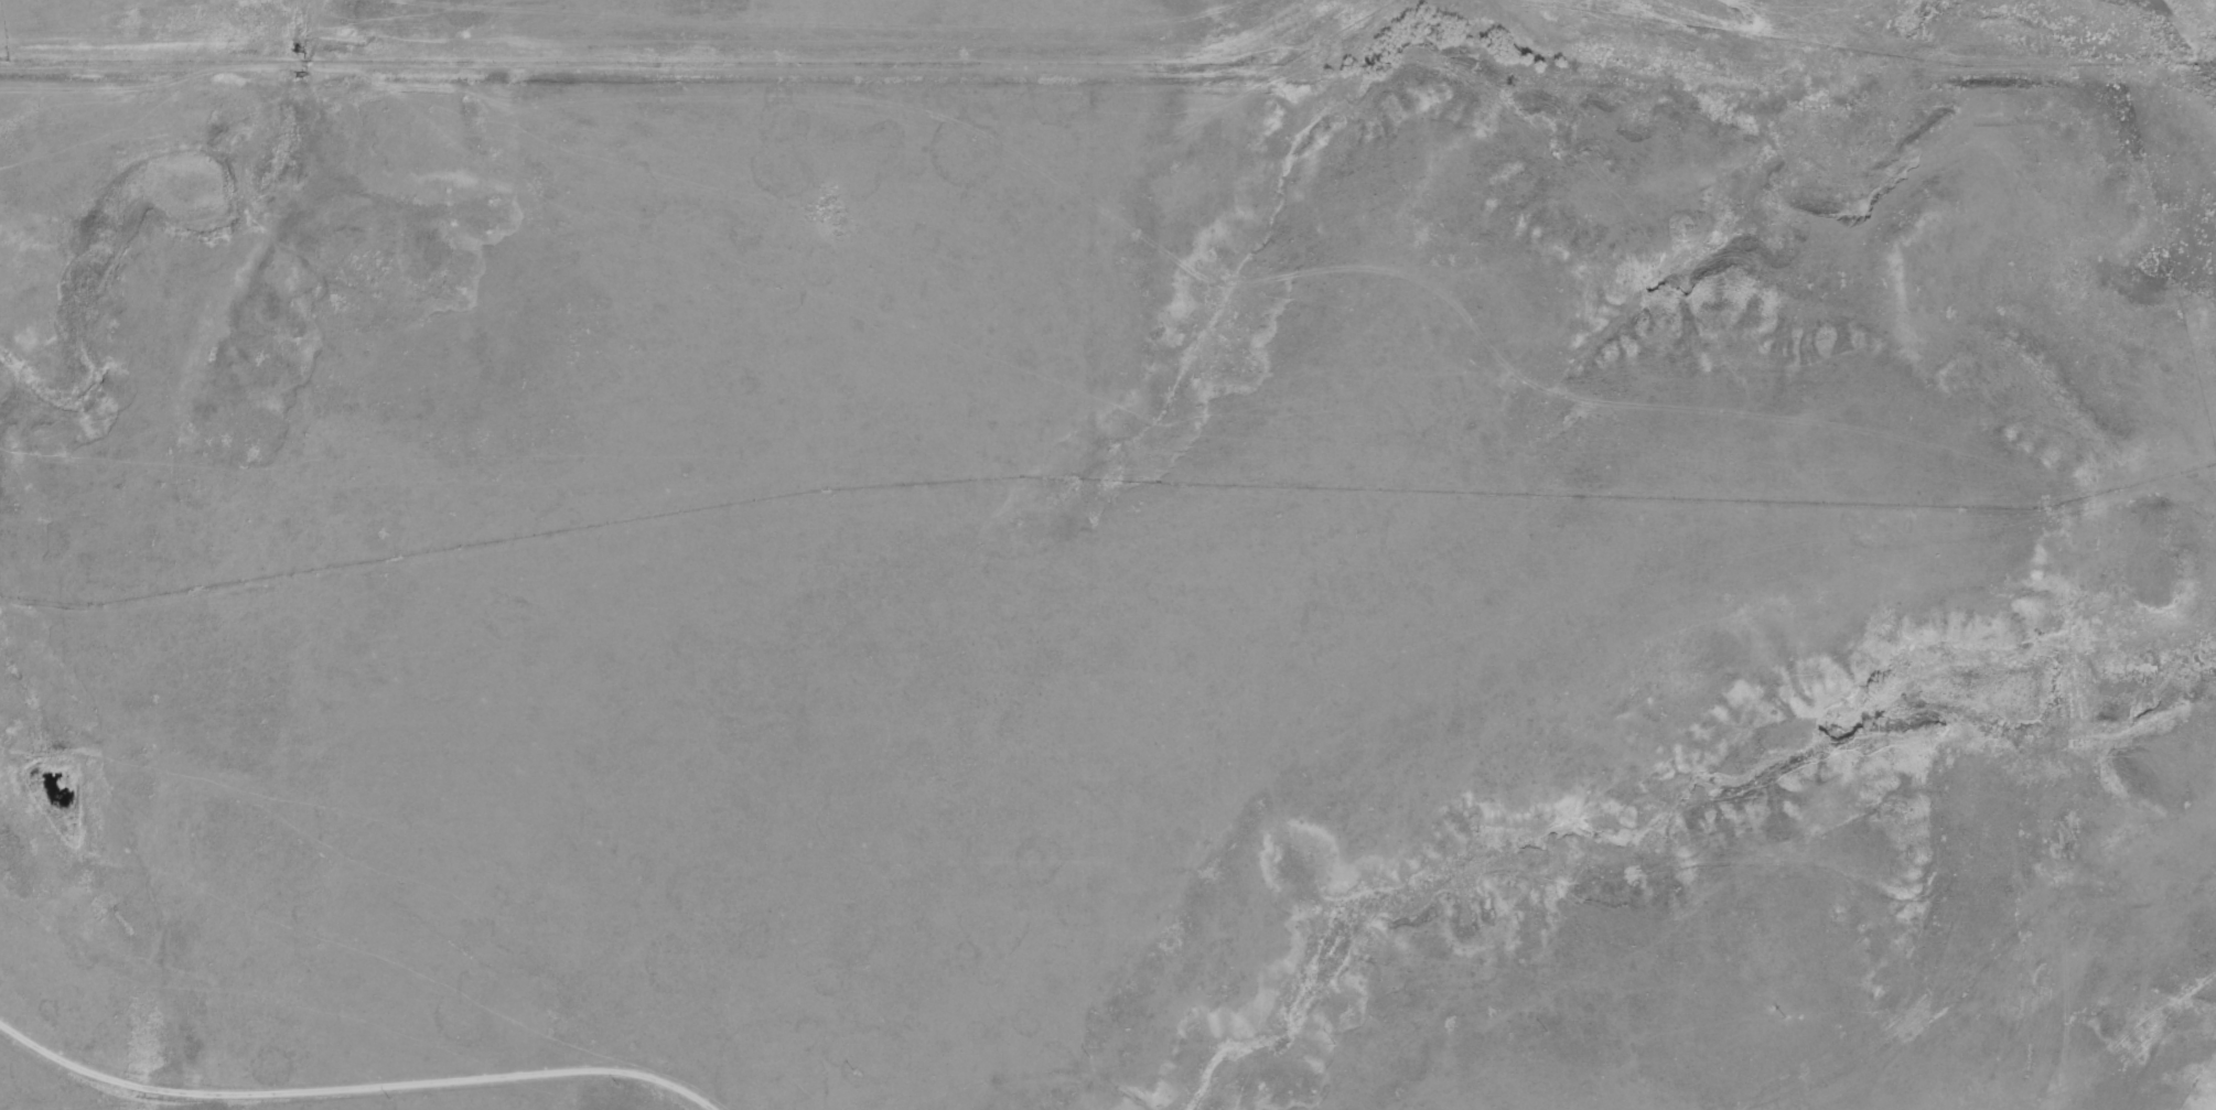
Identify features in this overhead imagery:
road: (2197, 43)

